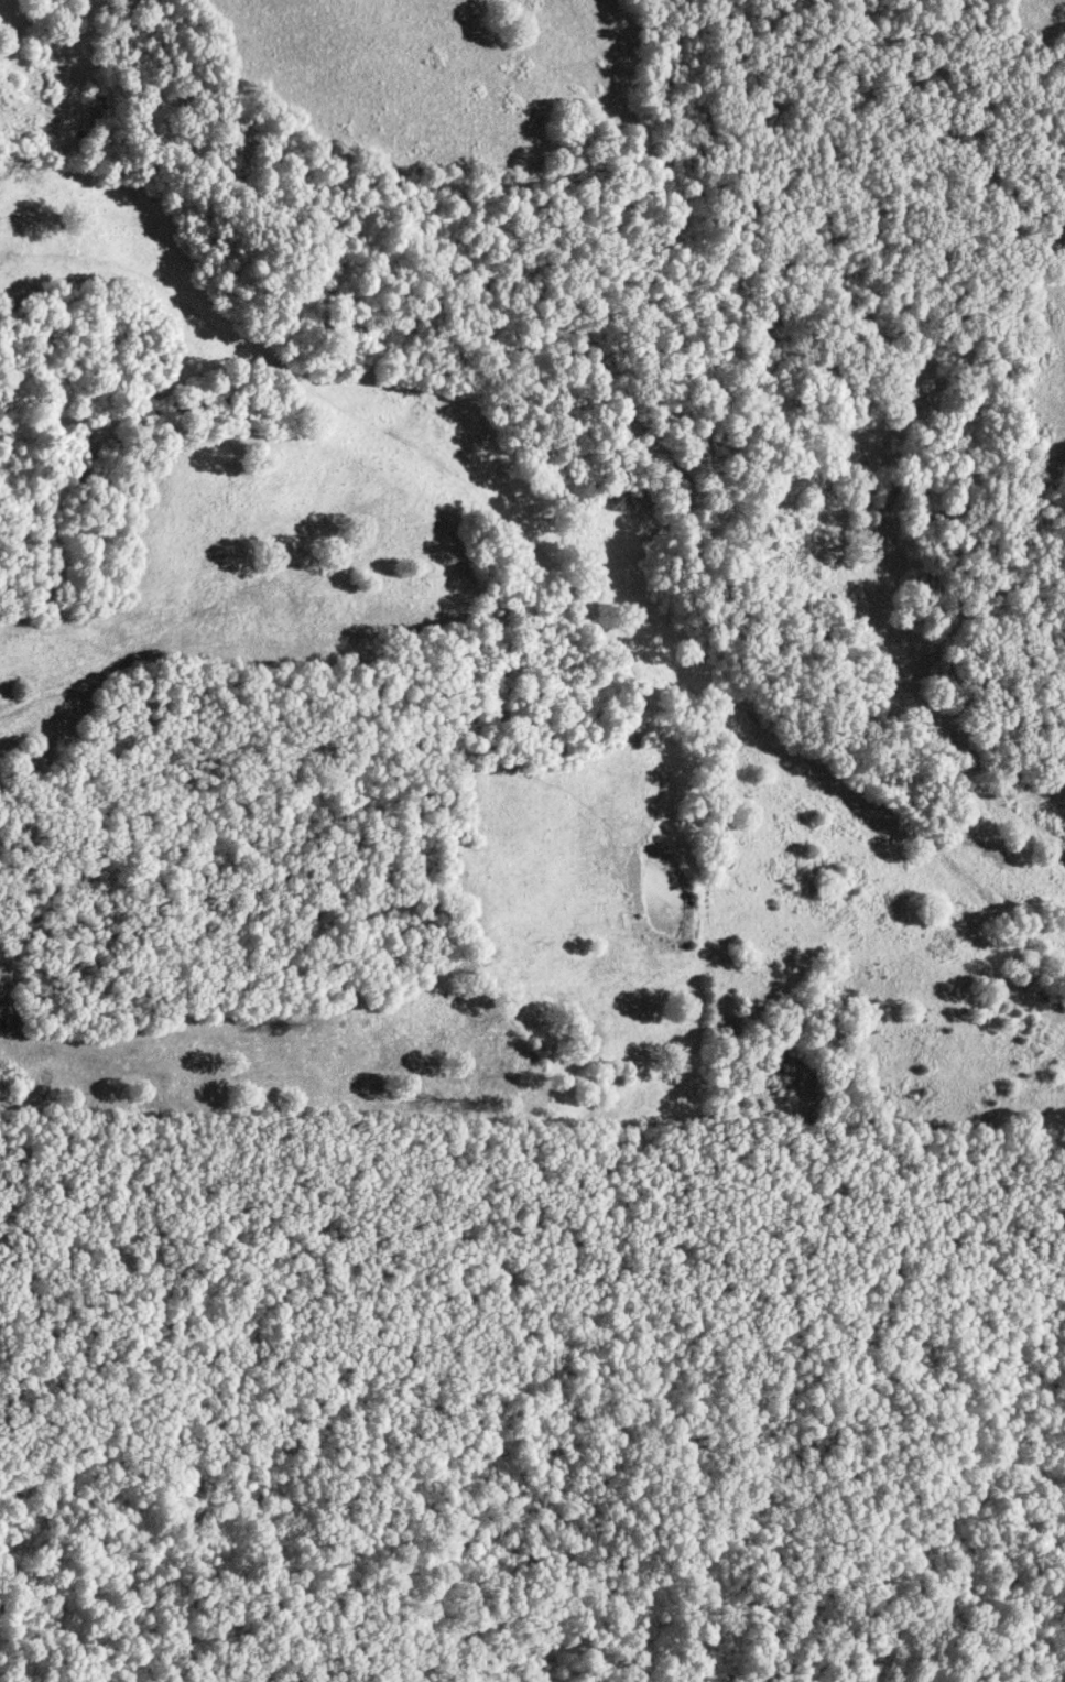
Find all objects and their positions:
road: (846, 1550)

